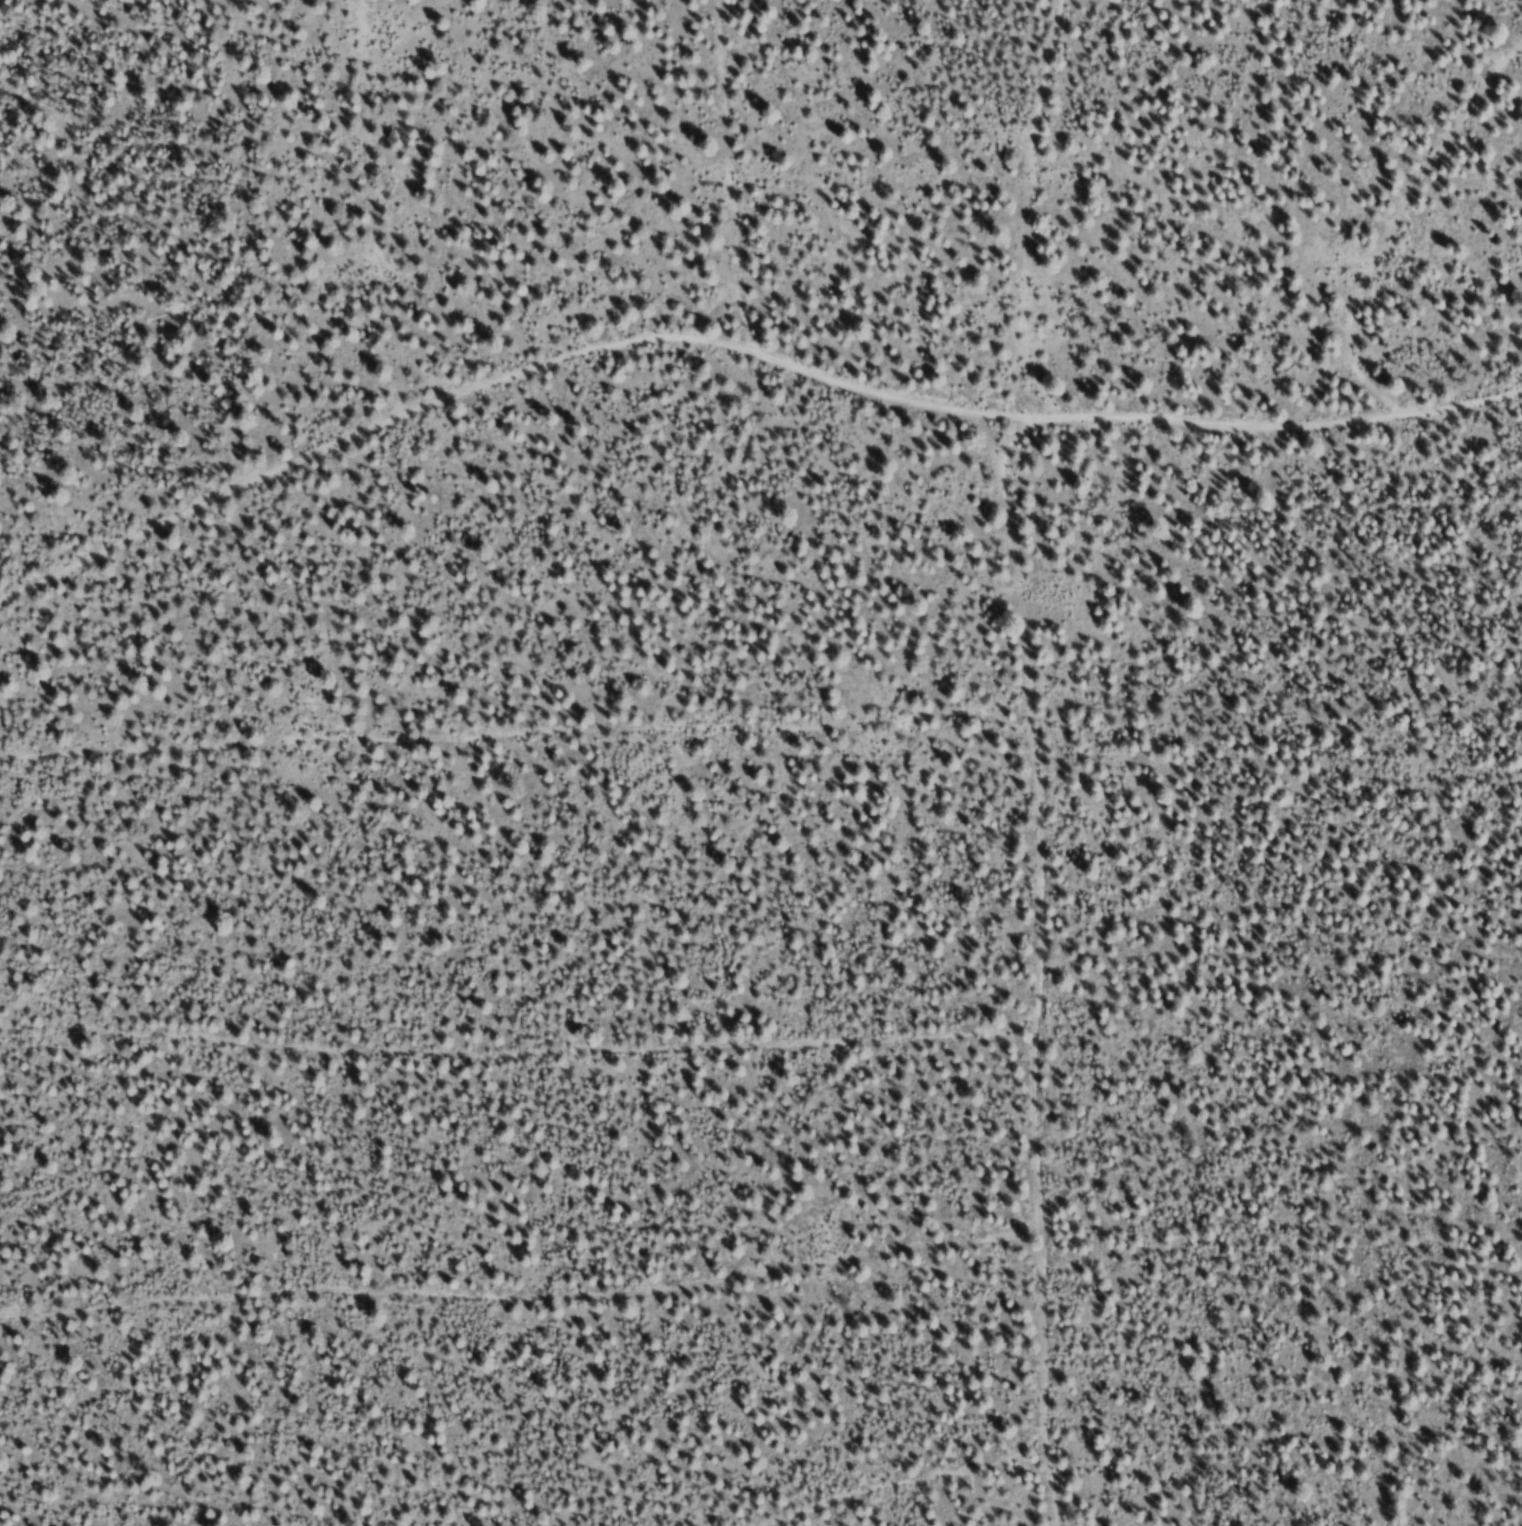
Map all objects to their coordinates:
road: (778, 156)
road: (409, 191)
road: (1434, 240)
road: (736, 304)
road: (525, 750)
road: (1058, 762)
road: (528, 1068)
road: (539, 1321)
road: (950, 1478)

